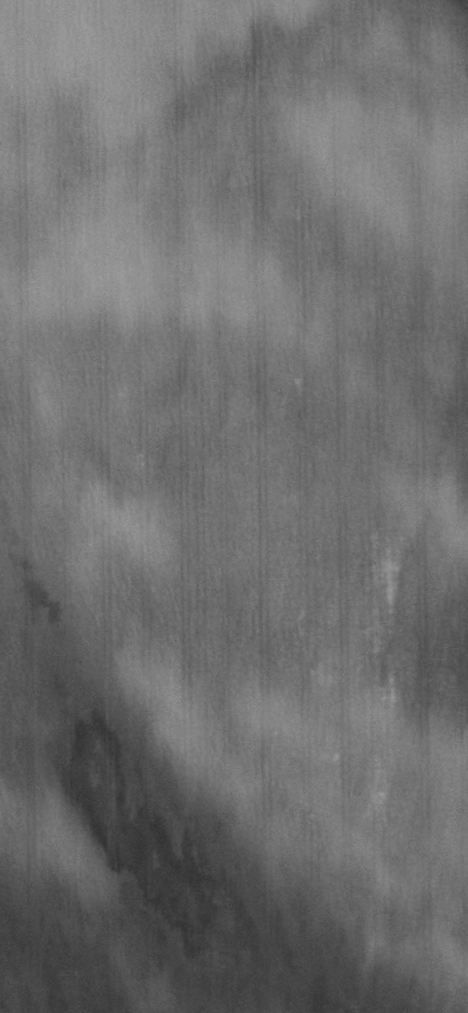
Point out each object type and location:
crop: (234, 506)

